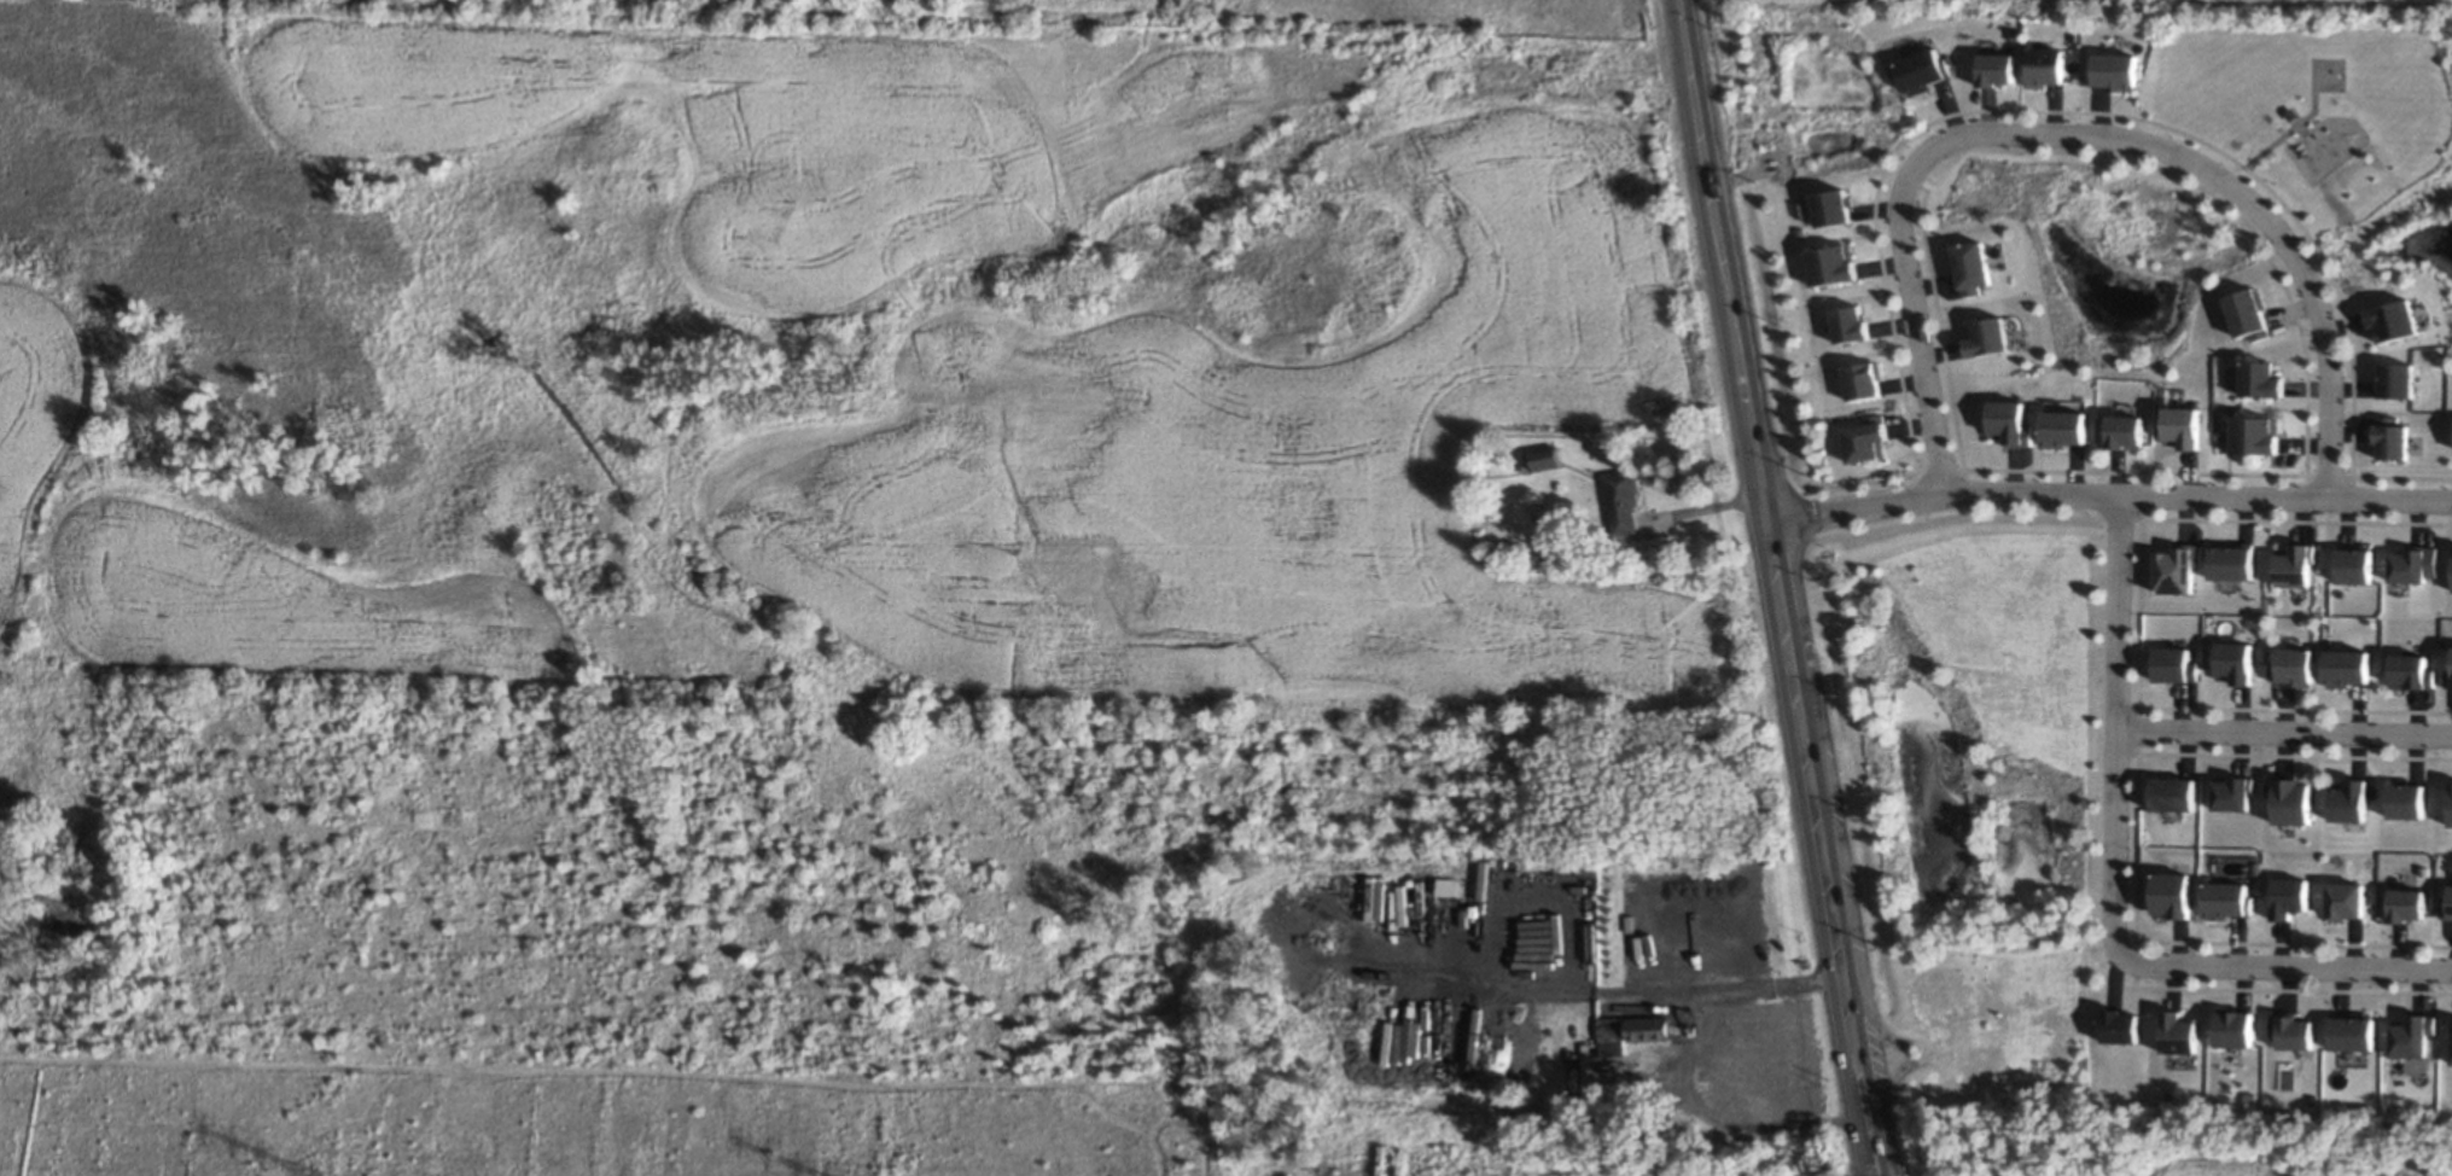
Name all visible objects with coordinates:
building: (2045, 66)
building: (1997, 69)
building: (1922, 70)
building: (2115, 71)
road: (2083, 134)
building: (1833, 208)
building: (1831, 264)
building: (1970, 266)
building: (2248, 314)
building: (2392, 320)
building: (1850, 324)
building: (1986, 336)
building: (2260, 379)
building: (2395, 379)
building: (1862, 380)
building: (2009, 423)
building: (2182, 426)
building: (2063, 429)
building: (2125, 431)
building: (2254, 435)
building: (1866, 438)
building: (2390, 438)
building: (1543, 458)
road: (2107, 494)
building: (1620, 501)
building: (2230, 560)
building: (2353, 564)
building: (2411, 564)
building: (2291, 565)
building: (2177, 567)
building: (2451, 575)
road: (1776, 588)
building: (2233, 662)
building: (2173, 664)
building: (2291, 666)
building: (2346, 666)
building: (2410, 671)
building: (2447, 677)
road: (2114, 726)
road: (2283, 733)
building: (2230, 792)
building: (2172, 793)
building: (2289, 799)
building: (2347, 801)
building: (2405, 801)
building: (2450, 804)
building: (1445, 886)
building: (2169, 893)
building: (2288, 897)
building: (2225, 900)
building: (2343, 901)
building: (2405, 904)
building: (2446, 906)
road: (2285, 966)
road: (1767, 979)
road: (1565, 988)
building: (2119, 1026)
building: (1647, 1027)
building: (2232, 1027)
building: (2290, 1030)
building: (2352, 1031)
building: (2177, 1032)
building: (2411, 1035)
building: (1609, 1036)
road: (1714, 1120)
crop: (557, 1129)

